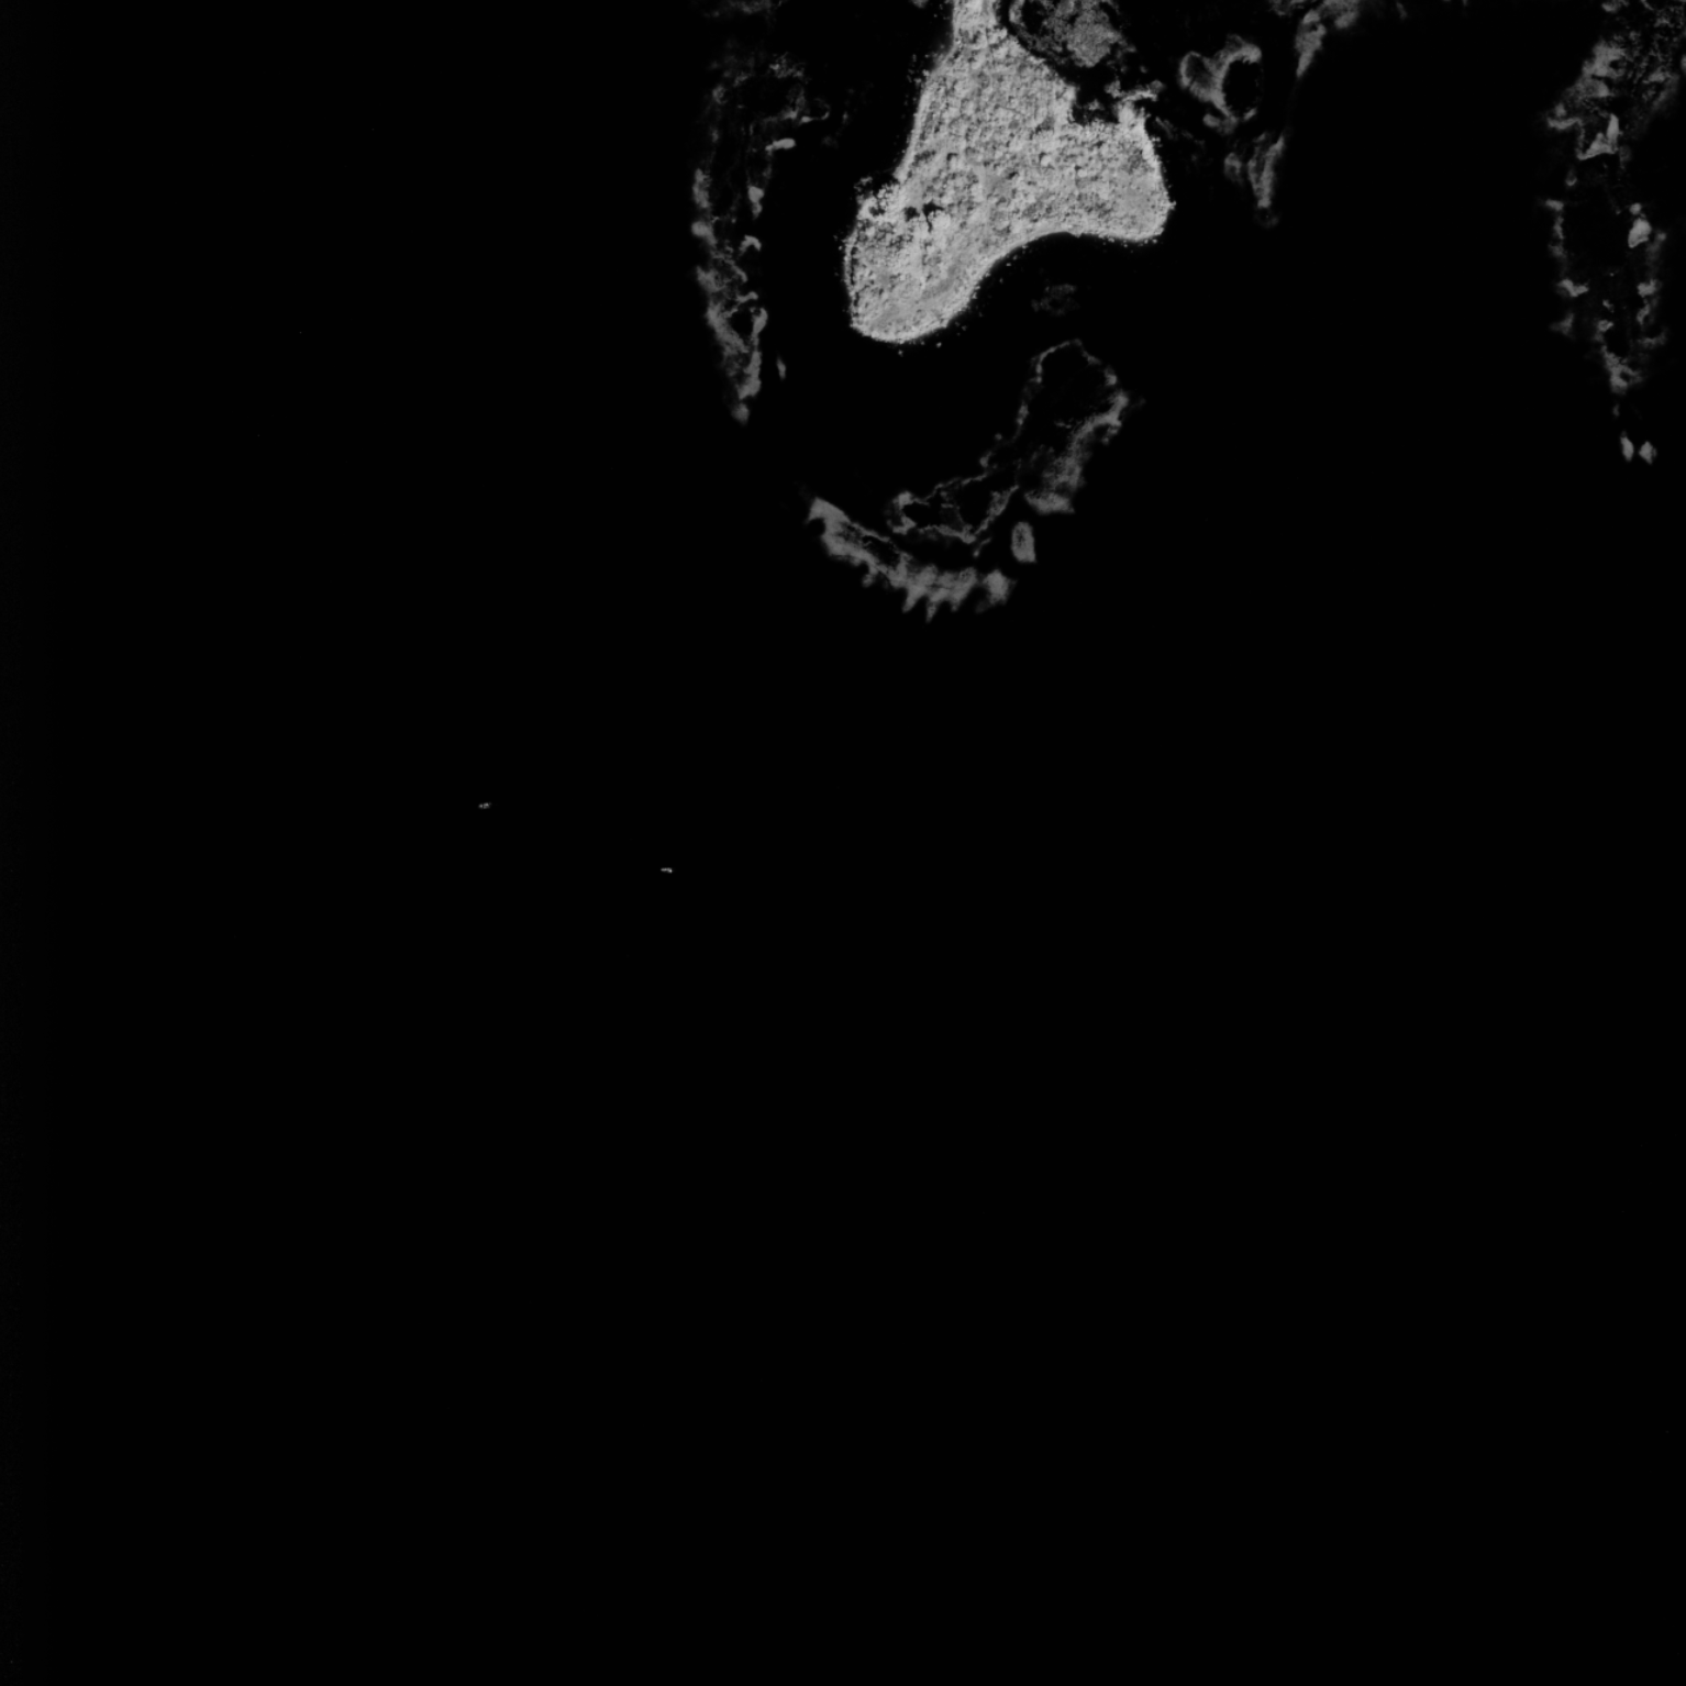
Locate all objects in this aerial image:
road: (961, 108)

